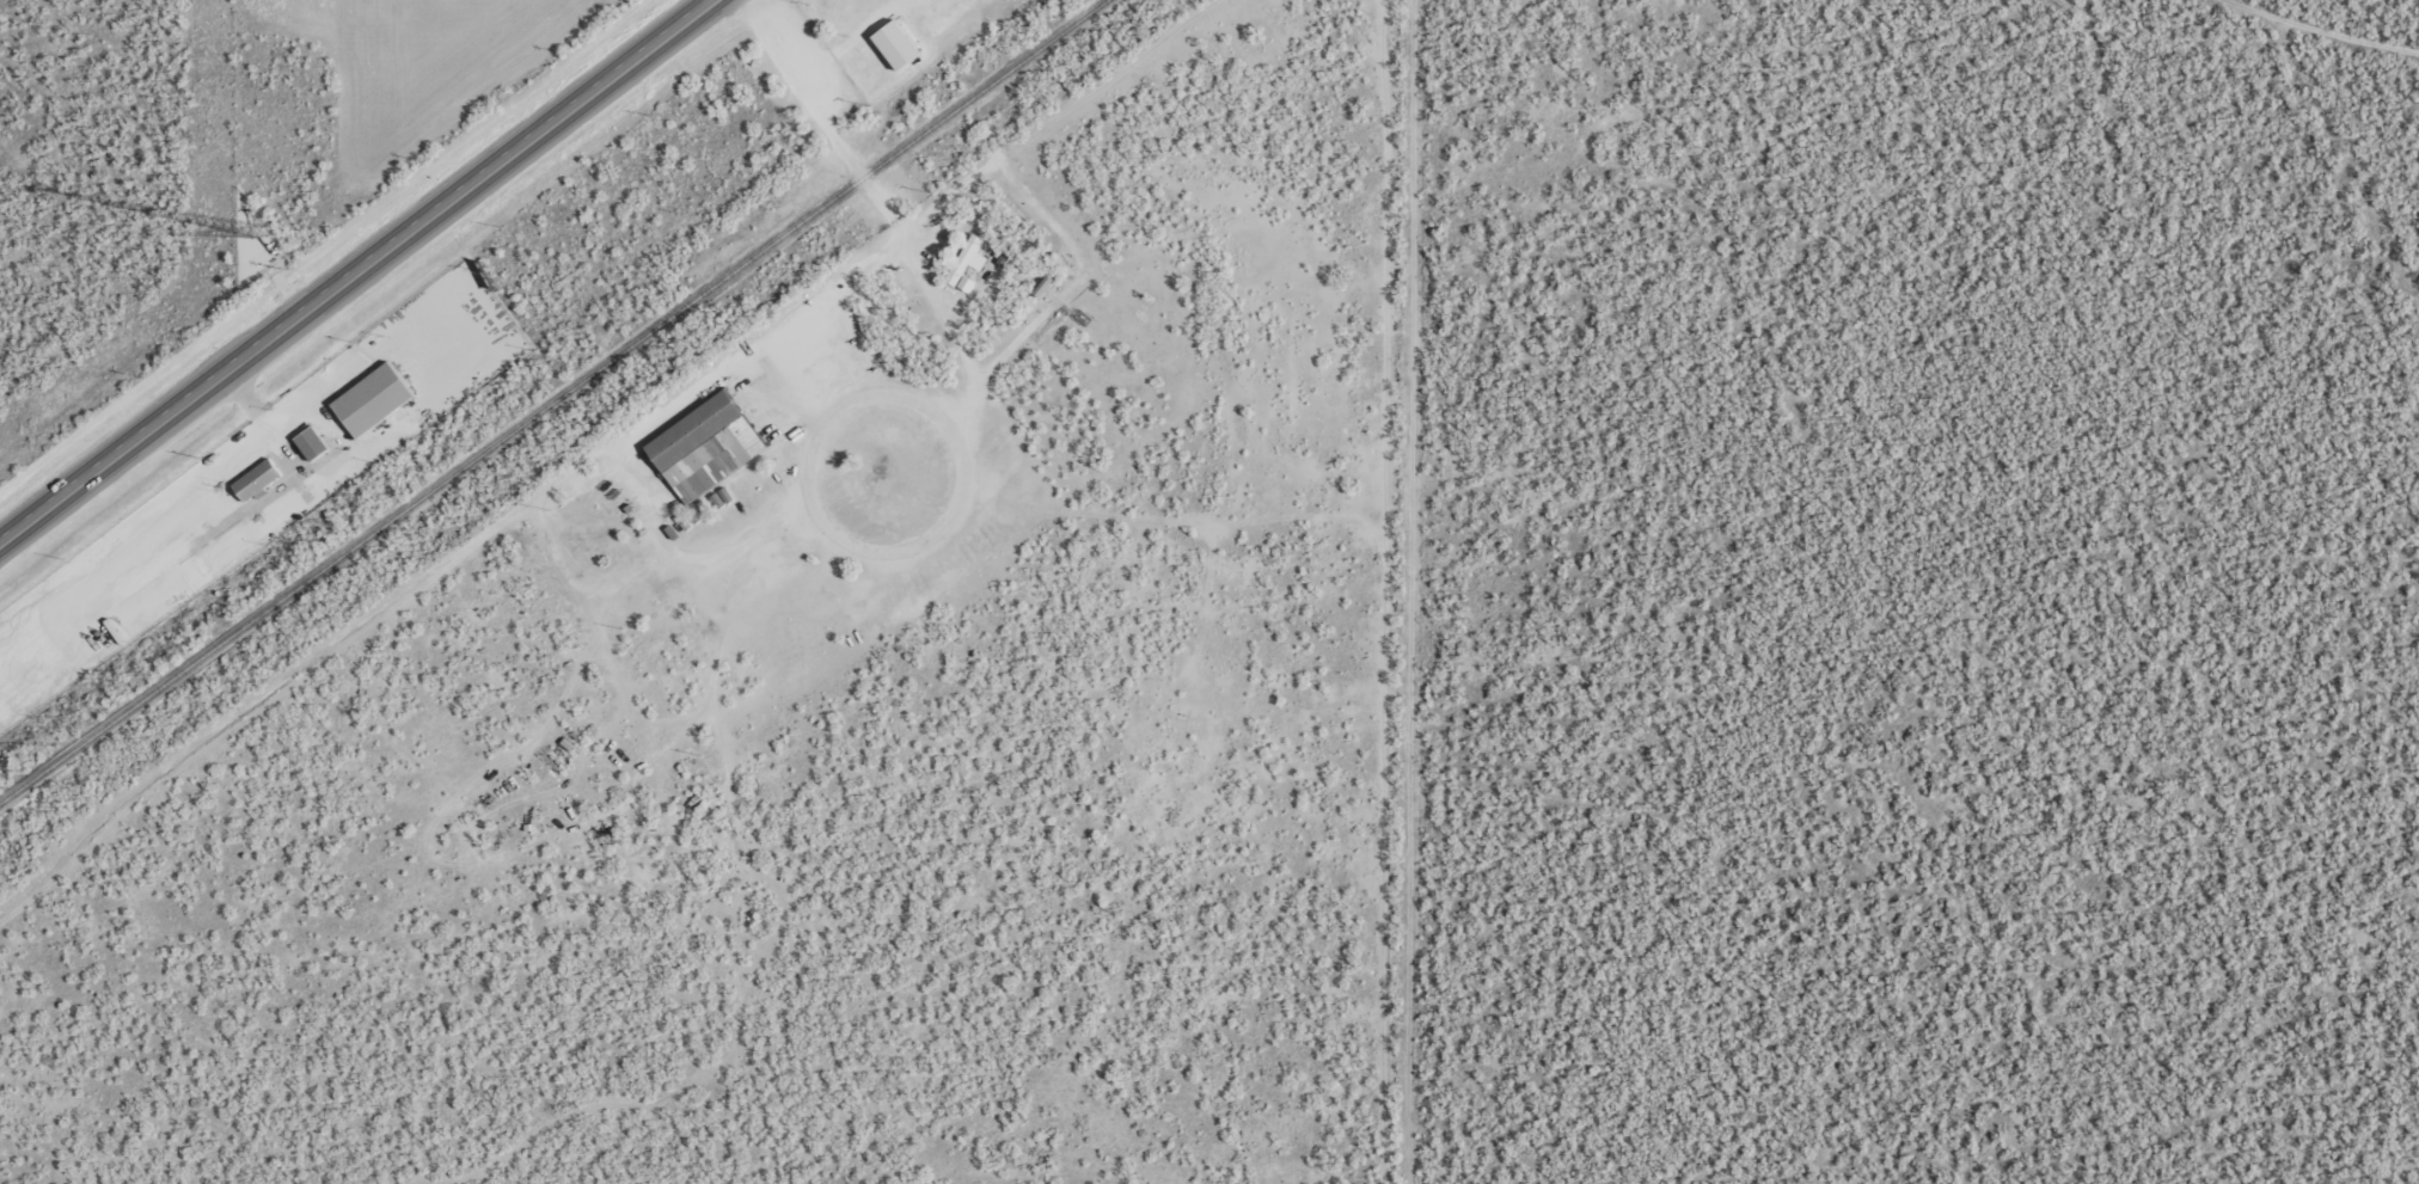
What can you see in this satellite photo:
road: (2309, 26)
building: (889, 43)
road: (2343, 165)
building: (963, 264)
road: (359, 271)
building: (378, 399)
railway: (550, 400)
building: (316, 443)
building: (702, 447)
building: (259, 477)
building: (721, 497)

